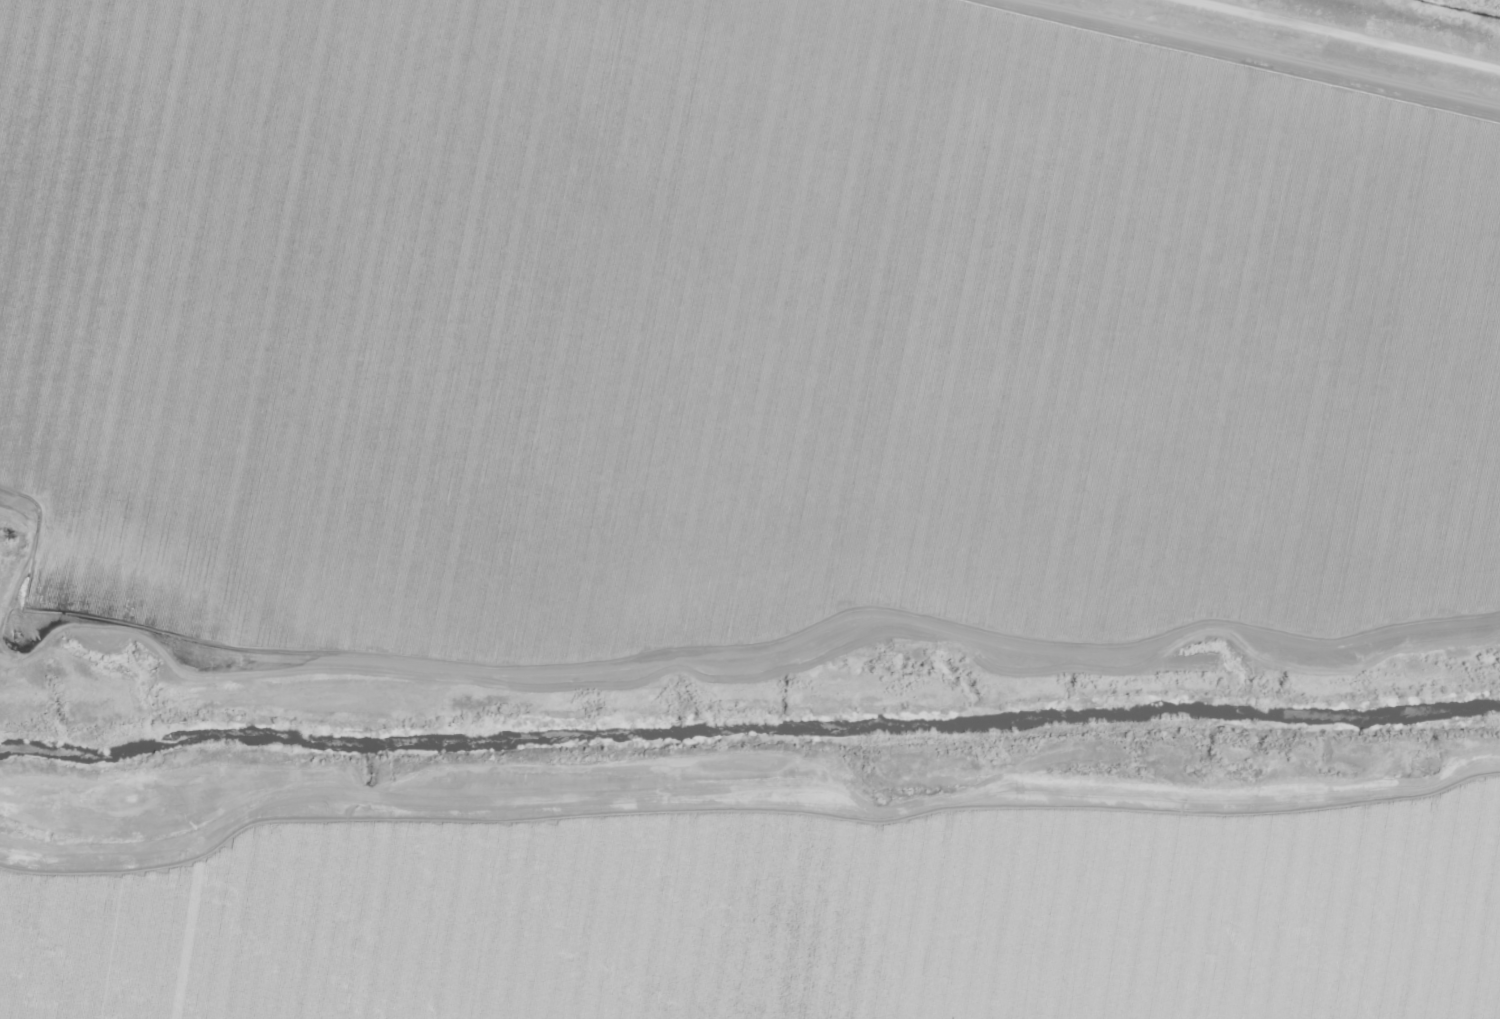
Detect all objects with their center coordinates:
road: (1374, 29)

